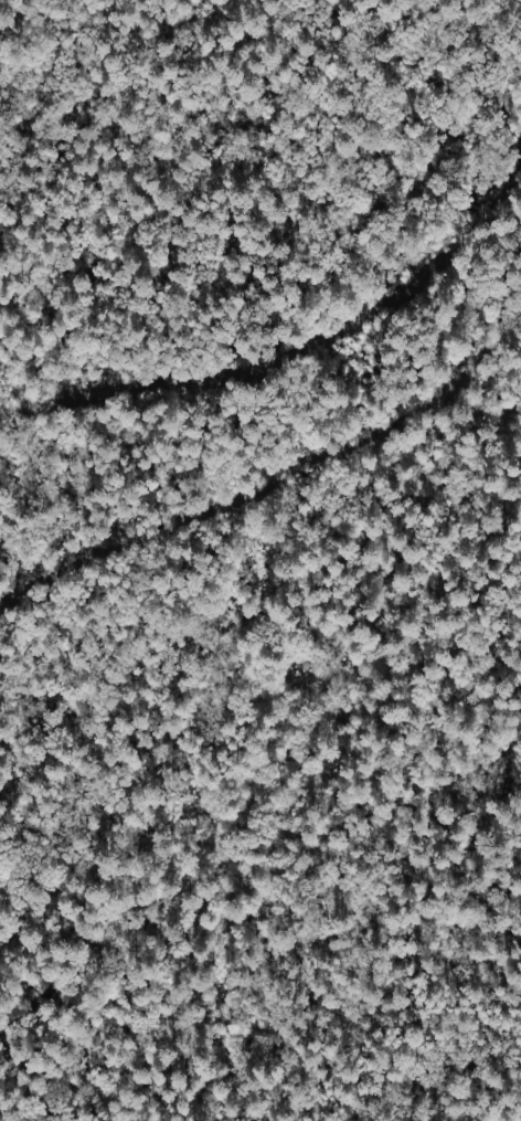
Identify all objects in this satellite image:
road: (0, 1120)

